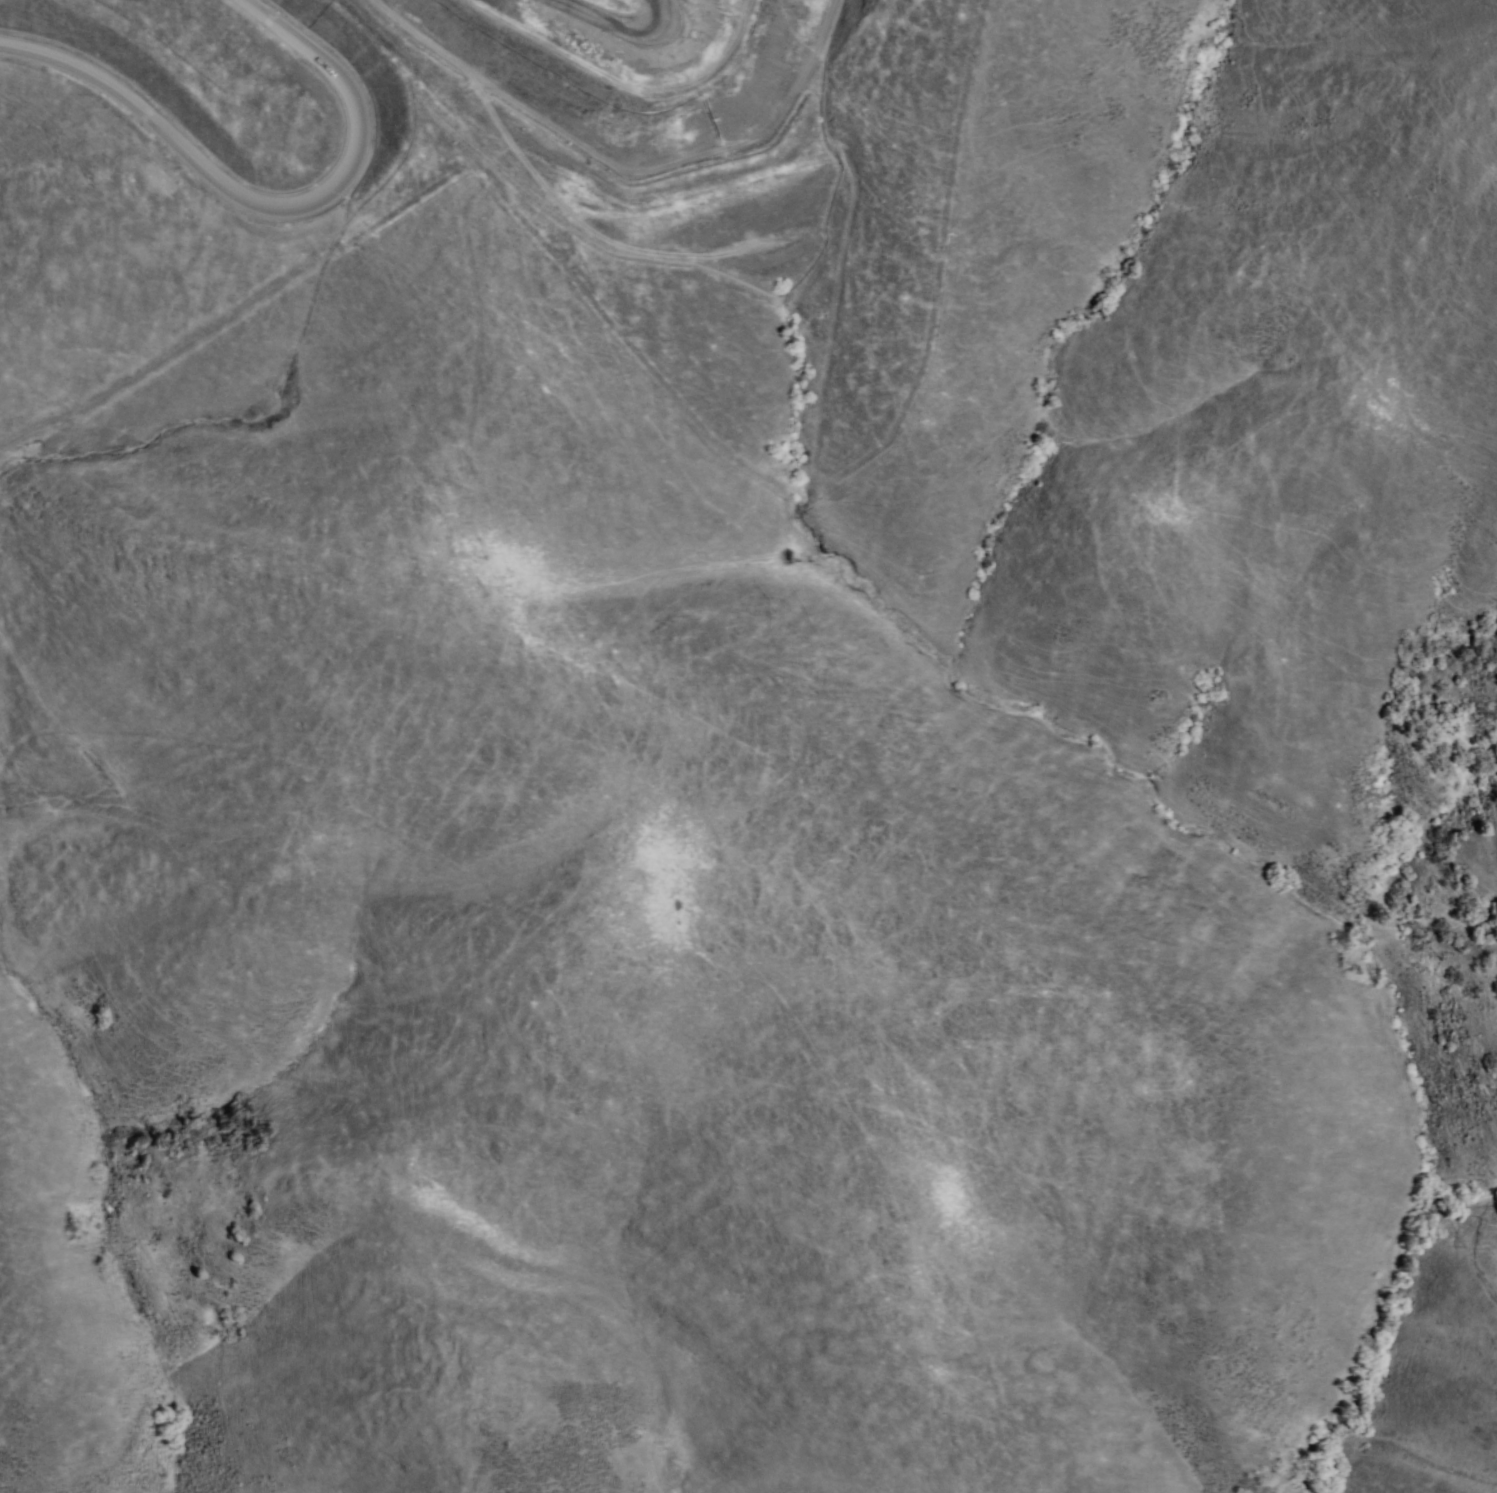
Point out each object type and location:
road: (623, 35)
landfill: (640, 113)
road: (266, 199)

